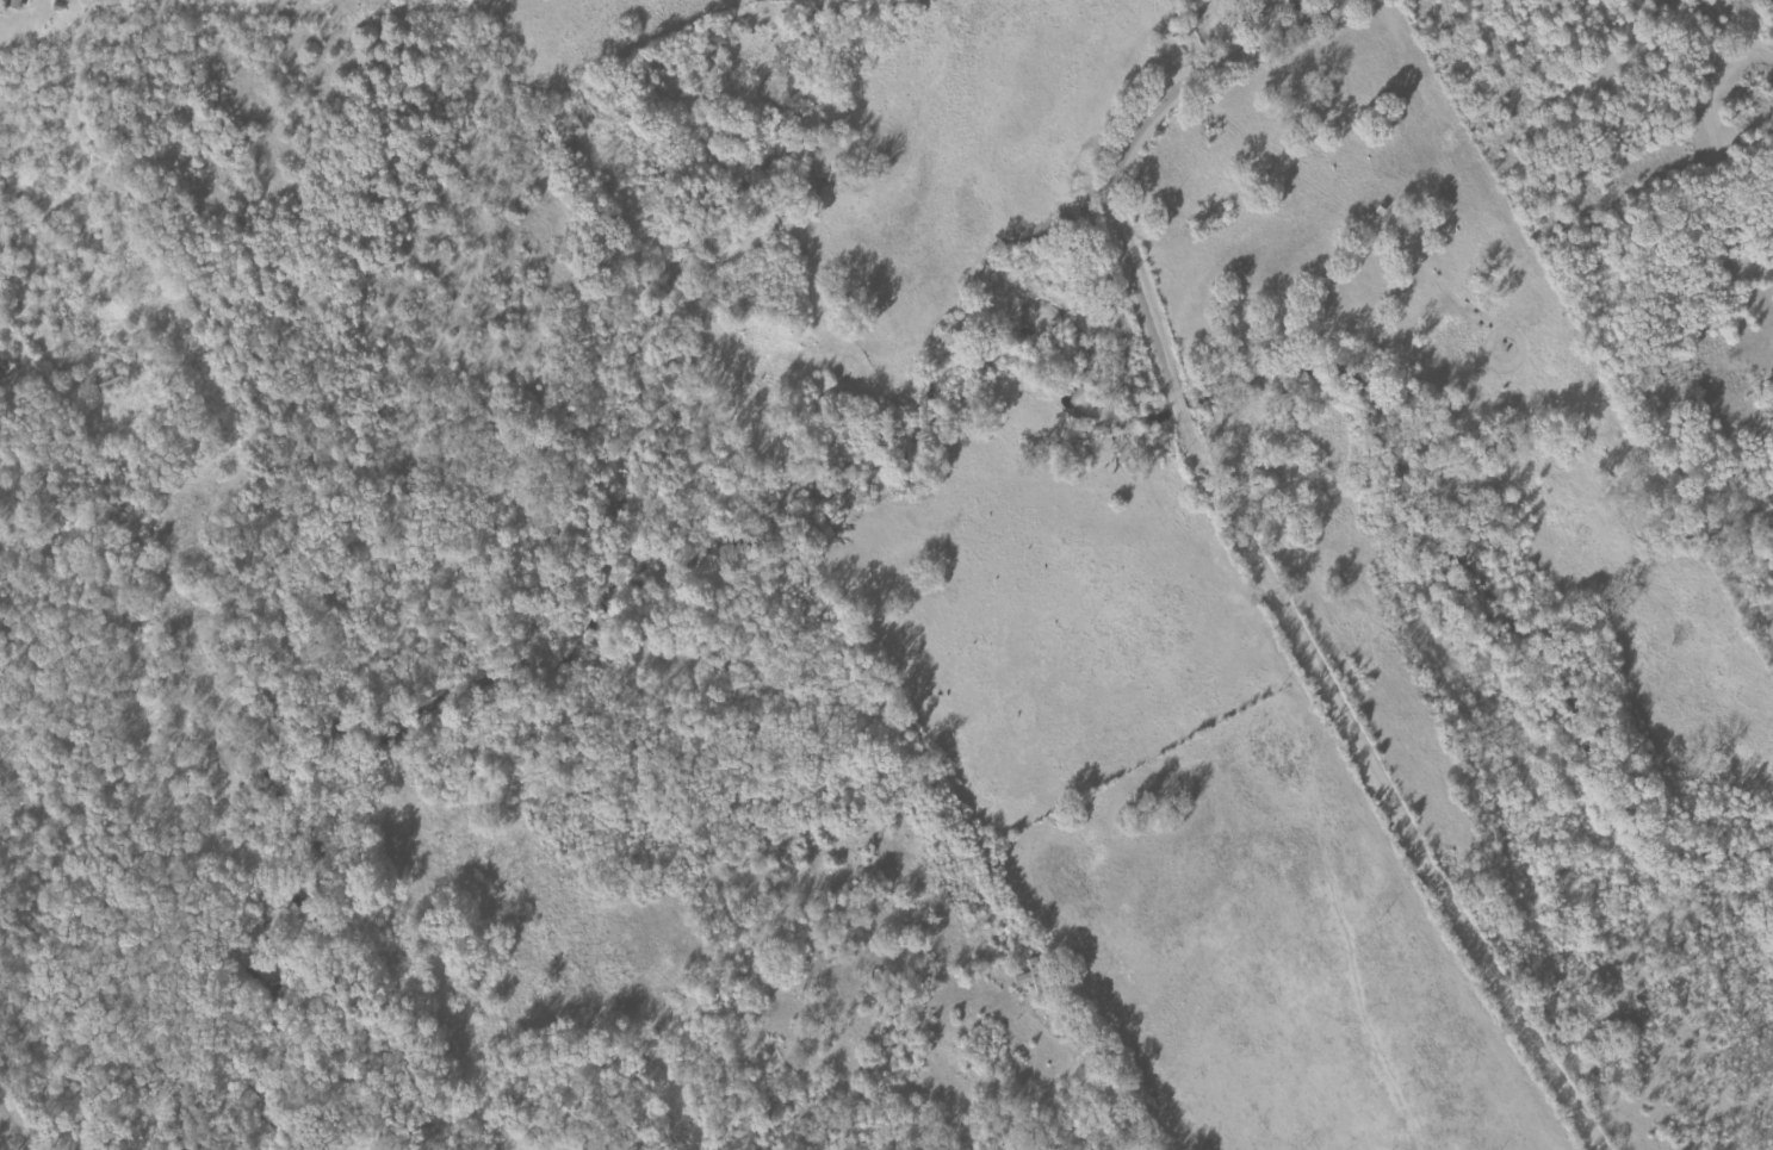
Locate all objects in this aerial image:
building: (1248, 0)
road: (1354, 0)
building: (16, 4)
road: (1244, 541)
building: (1035, 978)
road: (12, 1129)
building: (590, 1143)

